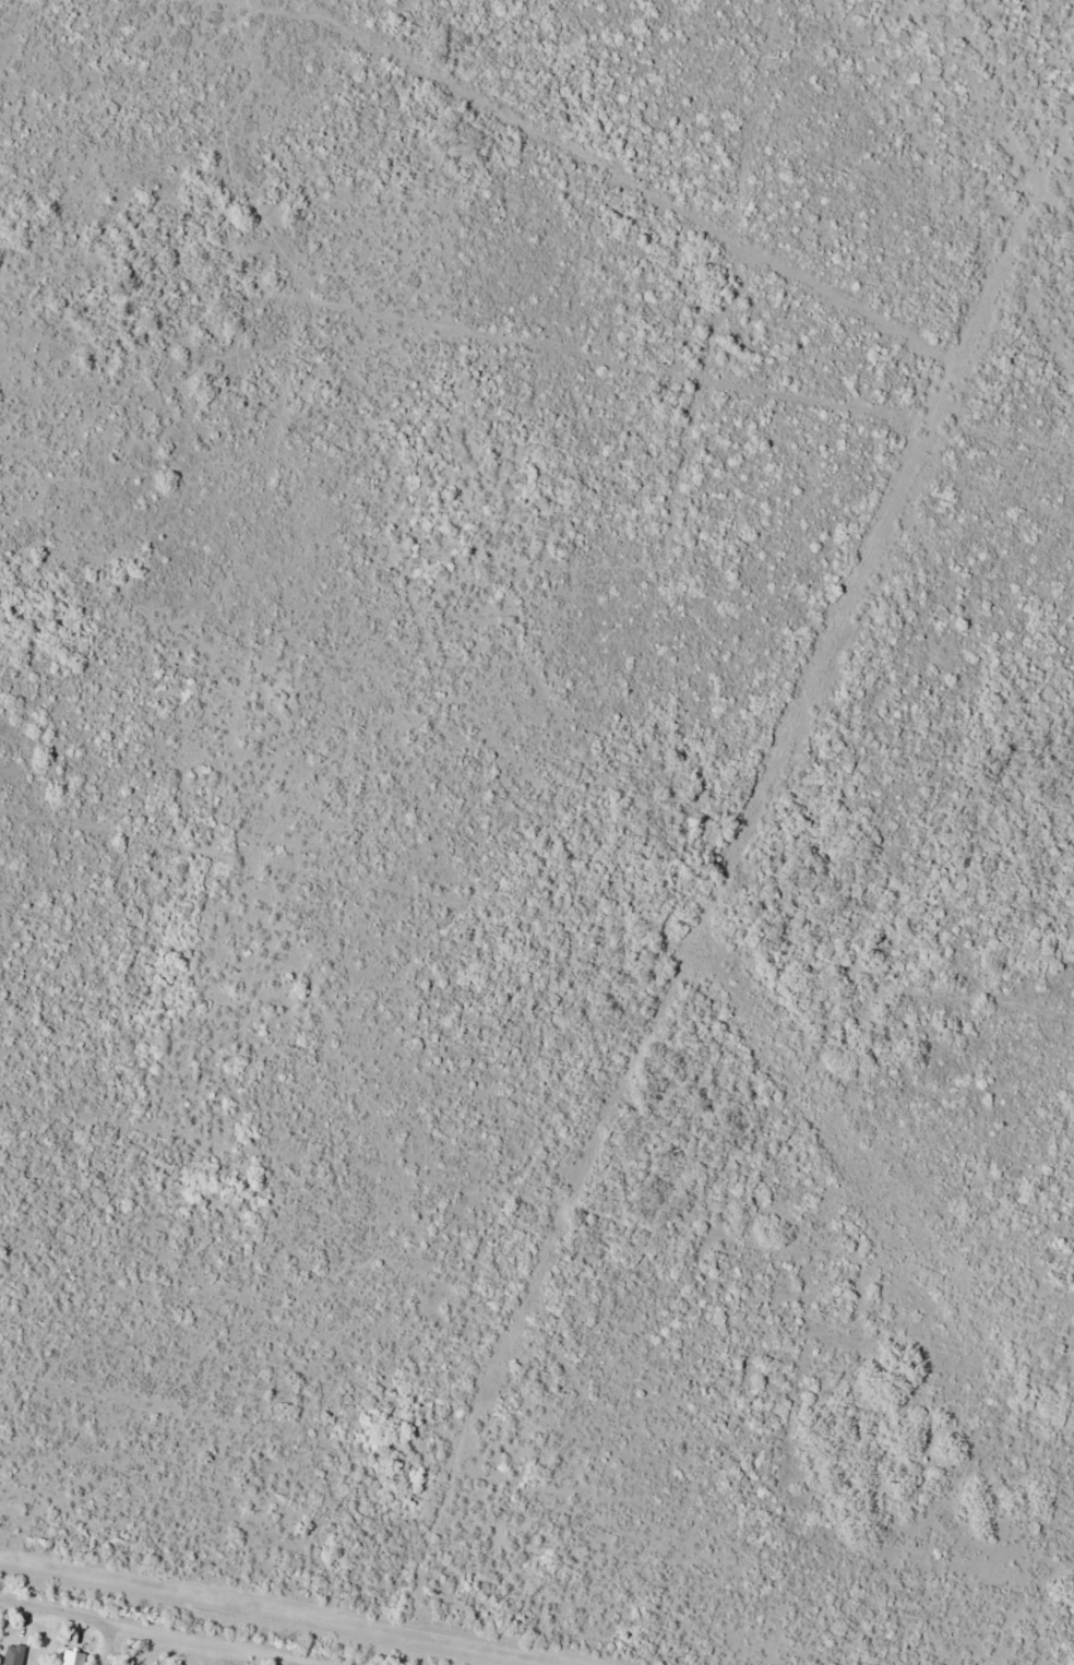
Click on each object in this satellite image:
road: (1026, 281)
road: (738, 931)
road: (174, 1631)
road: (107, 1642)
building: (16, 1650)
building: (76, 1657)

